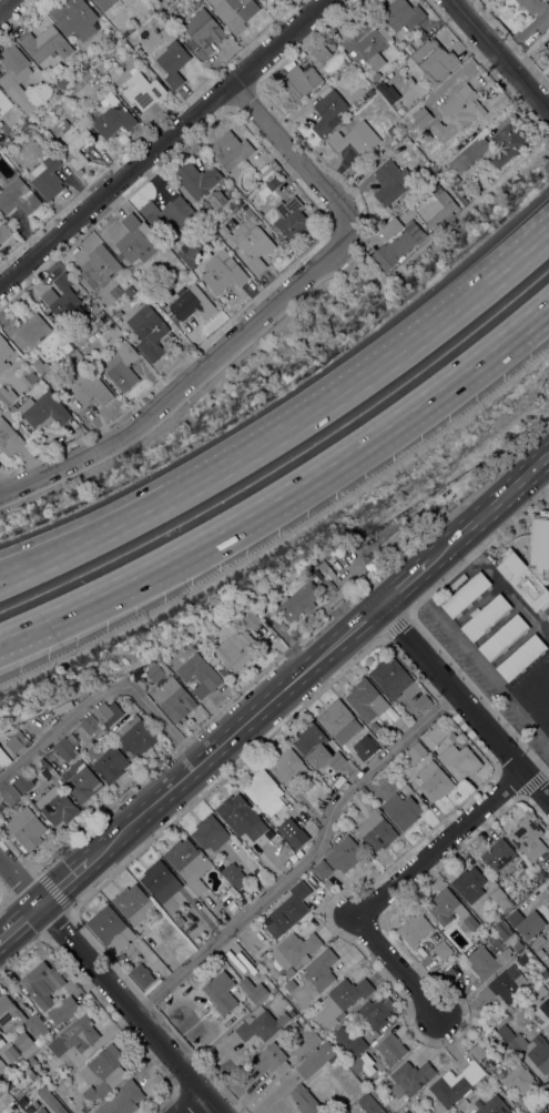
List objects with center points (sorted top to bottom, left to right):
building: (123, 1)
road: (4, 3)
building: (104, 3)
building: (532, 6)
building: (235, 12)
building: (403, 14)
building: (144, 17)
building: (73, 18)
building: (203, 33)
building: (421, 36)
building: (114, 38)
building: (45, 44)
building: (329, 45)
building: (367, 45)
building: (546, 49)
building: (321, 53)
road: (498, 57)
road: (529, 57)
building: (434, 61)
building: (84, 63)
building: (173, 63)
building: (74, 74)
building: (90, 74)
building: (16, 77)
building: (299, 82)
building: (61, 83)
building: (141, 90)
building: (372, 92)
building: (387, 92)
building: (4, 104)
building: (461, 108)
building: (327, 111)
building: (400, 111)
building: (111, 117)
building: (445, 132)
building: (355, 138)
building: (72, 140)
road: (163, 142)
building: (506, 144)
building: (231, 151)
road: (292, 153)
building: (469, 154)
building: (273, 165)
building: (47, 176)
building: (454, 179)
building: (195, 181)
building: (390, 183)
building: (273, 184)
building: (18, 196)
building: (216, 200)
building: (462, 200)
building: (447, 210)
building: (250, 214)
building: (169, 215)
building: (291, 217)
building: (211, 223)
building: (223, 231)
building: (3, 233)
building: (134, 241)
building: (396, 241)
building: (252, 246)
building: (194, 250)
building: (181, 252)
building: (99, 269)
building: (222, 272)
building: (129, 291)
building: (64, 302)
building: (191, 303)
building: (161, 304)
road: (454, 311)
building: (169, 313)
building: (118, 314)
building: (174, 320)
building: (28, 330)
building: (148, 332)
building: (64, 342)
building: (3, 354)
building: (121, 366)
road: (187, 376)
building: (31, 377)
building: (88, 389)
building: (7, 395)
building: (43, 411)
building: (7, 414)
building: (9, 438)
road: (546, 459)
road: (206, 462)
road: (334, 462)
road: (213, 475)
road: (457, 503)
road: (487, 507)
road: (29, 548)
building: (530, 565)
road: (32, 568)
building: (329, 569)
building: (315, 574)
road: (403, 583)
building: (466, 594)
building: (295, 599)
building: (263, 607)
building: (548, 616)
road: (51, 617)
building: (486, 617)
building: (250, 620)
road: (51, 626)
building: (504, 638)
building: (235, 650)
building: (520, 658)
building: (214, 664)
building: (199, 672)
building: (223, 672)
road: (491, 675)
building: (390, 677)
building: (533, 681)
building: (167, 691)
road: (105, 695)
building: (366, 700)
building: (128, 702)
building: (423, 702)
road: (465, 702)
building: (542, 711)
building: (106, 714)
road: (250, 719)
building: (340, 724)
building: (90, 725)
building: (375, 728)
building: (436, 735)
building: (135, 736)
building: (71, 739)
building: (368, 739)
building: (17, 742)
building: (312, 743)
building: (333, 747)
building: (64, 750)
building: (415, 753)
building: (3, 759)
building: (106, 761)
building: (459, 761)
building: (44, 765)
building: (287, 767)
building: (80, 781)
building: (338, 781)
building: (22, 783)
building: (435, 783)
building: (406, 788)
building: (364, 790)
building: (263, 792)
building: (10, 795)
building: (57, 807)
building: (400, 810)
building: (0, 812)
building: (236, 813)
building: (286, 829)
building: (28, 830)
building: (375, 831)
building: (210, 833)
building: (528, 839)
building: (344, 854)
building: (498, 856)
building: (187, 863)
road: (311, 864)
road: (78, 868)
building: (322, 869)
building: (234, 876)
building: (160, 881)
building: (327, 883)
building: (469, 884)
road: (389, 888)
building: (547, 888)
building: (232, 893)
building: (546, 897)
road: (3, 900)
building: (500, 900)
building: (133, 903)
building: (287, 911)
building: (450, 911)
road: (18, 920)
building: (179, 921)
building: (110, 929)
building: (501, 929)
building: (415, 930)
building: (435, 937)
building: (517, 945)
building: (295, 950)
building: (443, 950)
building: (520, 959)
building: (486, 961)
building: (293, 970)
building: (543, 974)
building: (142, 975)
building: (315, 977)
building: (547, 982)
building: (42, 984)
building: (505, 985)
road: (109, 986)
building: (253, 990)
building: (540, 992)
building: (221, 993)
building: (345, 995)
building: (527, 1001)
building: (63, 1011)
building: (376, 1012)
building: (9, 1015)
building: (507, 1019)
building: (257, 1025)
building: (35, 1026)
building: (547, 1029)
building: (343, 1034)
building: (74, 1036)
building: (511, 1038)
building: (1, 1042)
building: (24, 1044)
building: (353, 1048)
building: (392, 1050)
building: (478, 1052)
building: (10, 1054)
building: (539, 1054)
building: (271, 1059)
building: (315, 1060)
building: (31, 1061)
building: (1, 1064)
building: (357, 1065)
building: (28, 1073)
building: (103, 1073)
building: (409, 1079)
building: (519, 1081)
building: (8, 1084)
building: (453, 1085)
road: (273, 1095)
building: (2, 1100)
building: (50, 1100)
building: (122, 1100)
building: (304, 1100)
building: (21, 1101)
road: (186, 1102)
building: (14, 1105)
building: (369, 1105)
building: (492, 1105)
building: (41, 1111)
building: (405, 1112)

